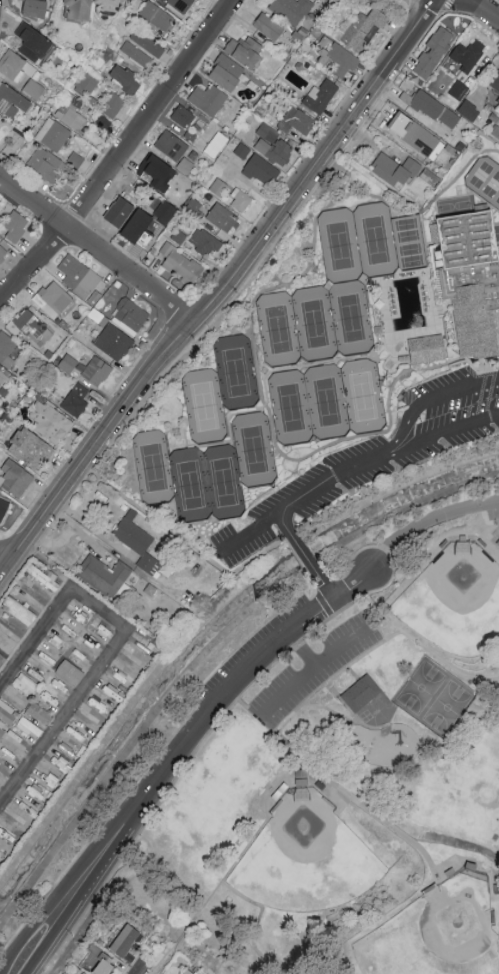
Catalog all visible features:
road: (497, 1)
building: (115, 3)
building: (182, 7)
building: (37, 8)
building: (82, 8)
building: (292, 9)
road: (484, 10)
building: (157, 16)
building: (346, 24)
building: (270, 27)
building: (363, 30)
building: (35, 43)
building: (147, 44)
building: (247, 49)
building: (435, 52)
building: (136, 54)
building: (469, 55)
building: (229, 72)
building: (128, 80)
building: (496, 82)
building: (34, 89)
building: (321, 96)
building: (209, 99)
building: (13, 100)
building: (498, 100)
building: (113, 105)
building: (430, 107)
building: (468, 109)
building: (183, 116)
building: (70, 117)
building: (297, 121)
building: (54, 134)
building: (419, 136)
building: (216, 144)
building: (274, 144)
building: (172, 145)
road: (119, 153)
building: (45, 165)
building: (185, 166)
building: (158, 167)
building: (396, 169)
building: (263, 171)
park: (489, 184)
building: (241, 200)
road: (325, 207)
park: (453, 207)
building: (166, 211)
building: (224, 218)
building: (139, 225)
building: (17, 226)
building: (205, 241)
park: (375, 241)
park: (409, 244)
park: (339, 247)
road: (98, 251)
building: (3, 253)
building: (182, 265)
building: (79, 276)
building: (470, 280)
road: (381, 287)
road: (224, 293)
building: (54, 300)
road: (432, 305)
building: (131, 314)
park: (350, 319)
park: (314, 325)
building: (30, 326)
park: (278, 331)
building: (114, 342)
building: (6, 349)
building: (426, 351)
building: (69, 363)
building: (98, 371)
park: (235, 373)
road: (263, 374)
building: (3, 377)
park: (363, 398)
building: (76, 401)
park: (327, 403)
park: (204, 407)
park: (290, 409)
building: (51, 422)
road: (368, 435)
road: (404, 435)
building: (32, 448)
park: (254, 451)
parking lot: (373, 461)
park: (153, 468)
building: (16, 478)
park: (223, 483)
park: (190, 486)
road: (309, 494)
building: (4, 505)
parking lot: (490, 507)
road: (427, 521)
building: (137, 542)
building: (498, 542)
road: (304, 558)
road: (3, 565)
building: (104, 575)
building: (42, 576)
park: (457, 604)
road: (95, 610)
building: (89, 636)
road: (34, 638)
road: (302, 651)
road: (313, 669)
parking lot: (314, 670)
building: (70, 672)
building: (26, 684)
road: (232, 685)
park: (420, 689)
building: (362, 693)
building: (98, 704)
park: (447, 709)
road: (327, 710)
building: (40, 714)
road: (62, 718)
building: (2, 727)
building: (29, 728)
building: (72, 749)
road: (299, 757)
park: (333, 757)
park: (306, 868)
road: (55, 896)
road: (80, 905)
building: (127, 940)
park: (430, 944)
road: (152, 962)
building: (104, 965)

